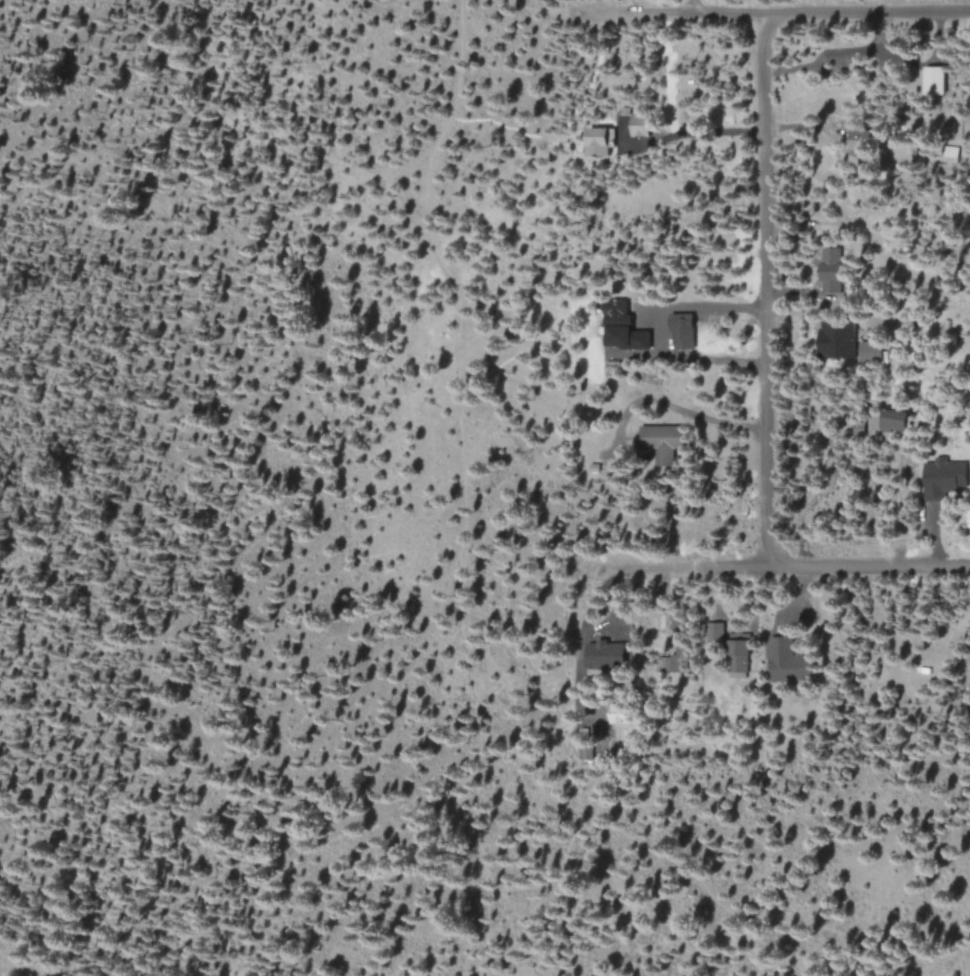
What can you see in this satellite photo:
road: (691, 8)
road: (773, 15)
road: (122, 46)
building: (934, 79)
road: (231, 93)
building: (639, 130)
building: (600, 140)
building: (831, 269)
road: (766, 291)
building: (617, 322)
building: (683, 333)
building: (836, 339)
building: (870, 352)
building: (895, 419)
building: (662, 441)
building: (933, 486)
road: (783, 566)
building: (604, 654)
building: (738, 656)
road: (76, 927)

